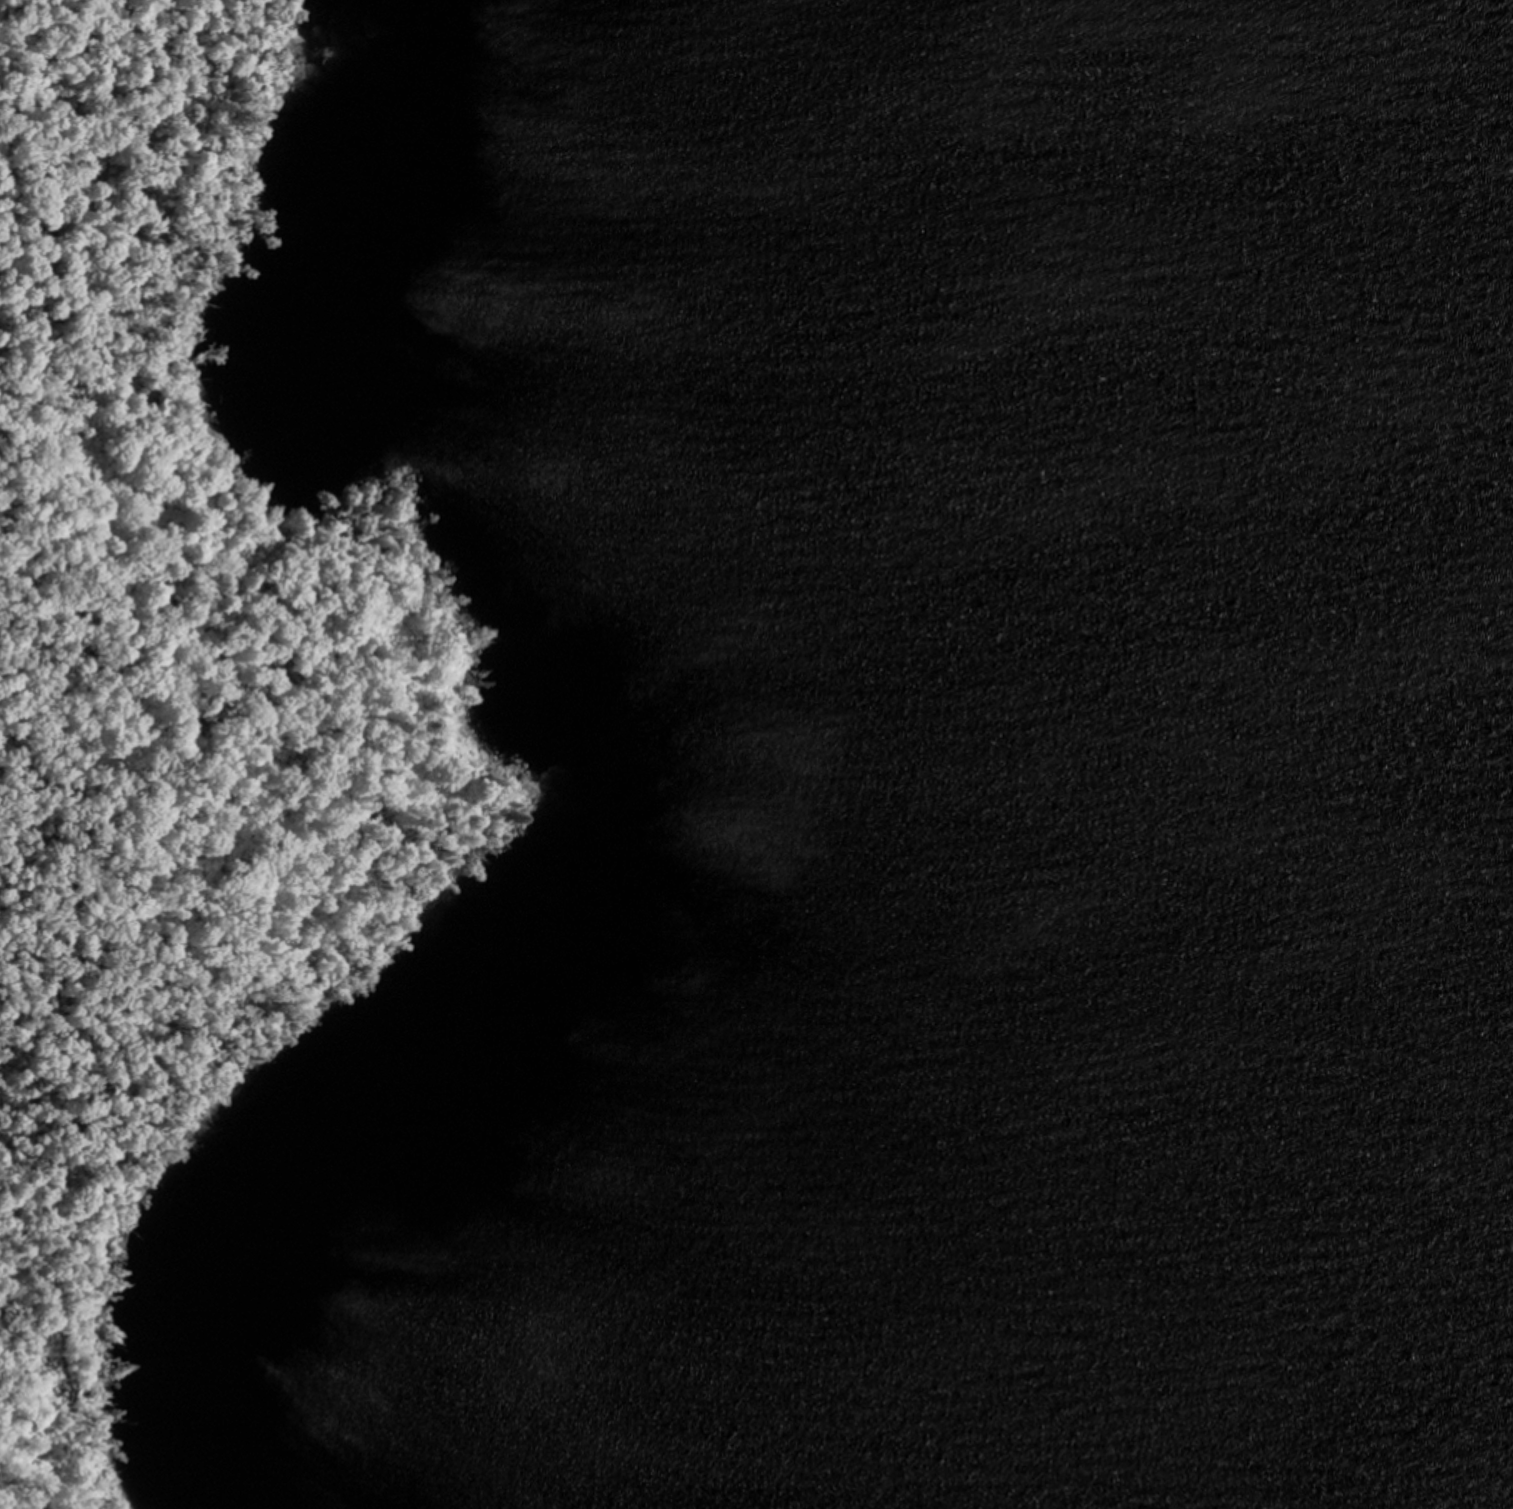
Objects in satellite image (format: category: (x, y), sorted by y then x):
road: (50, 1098)

